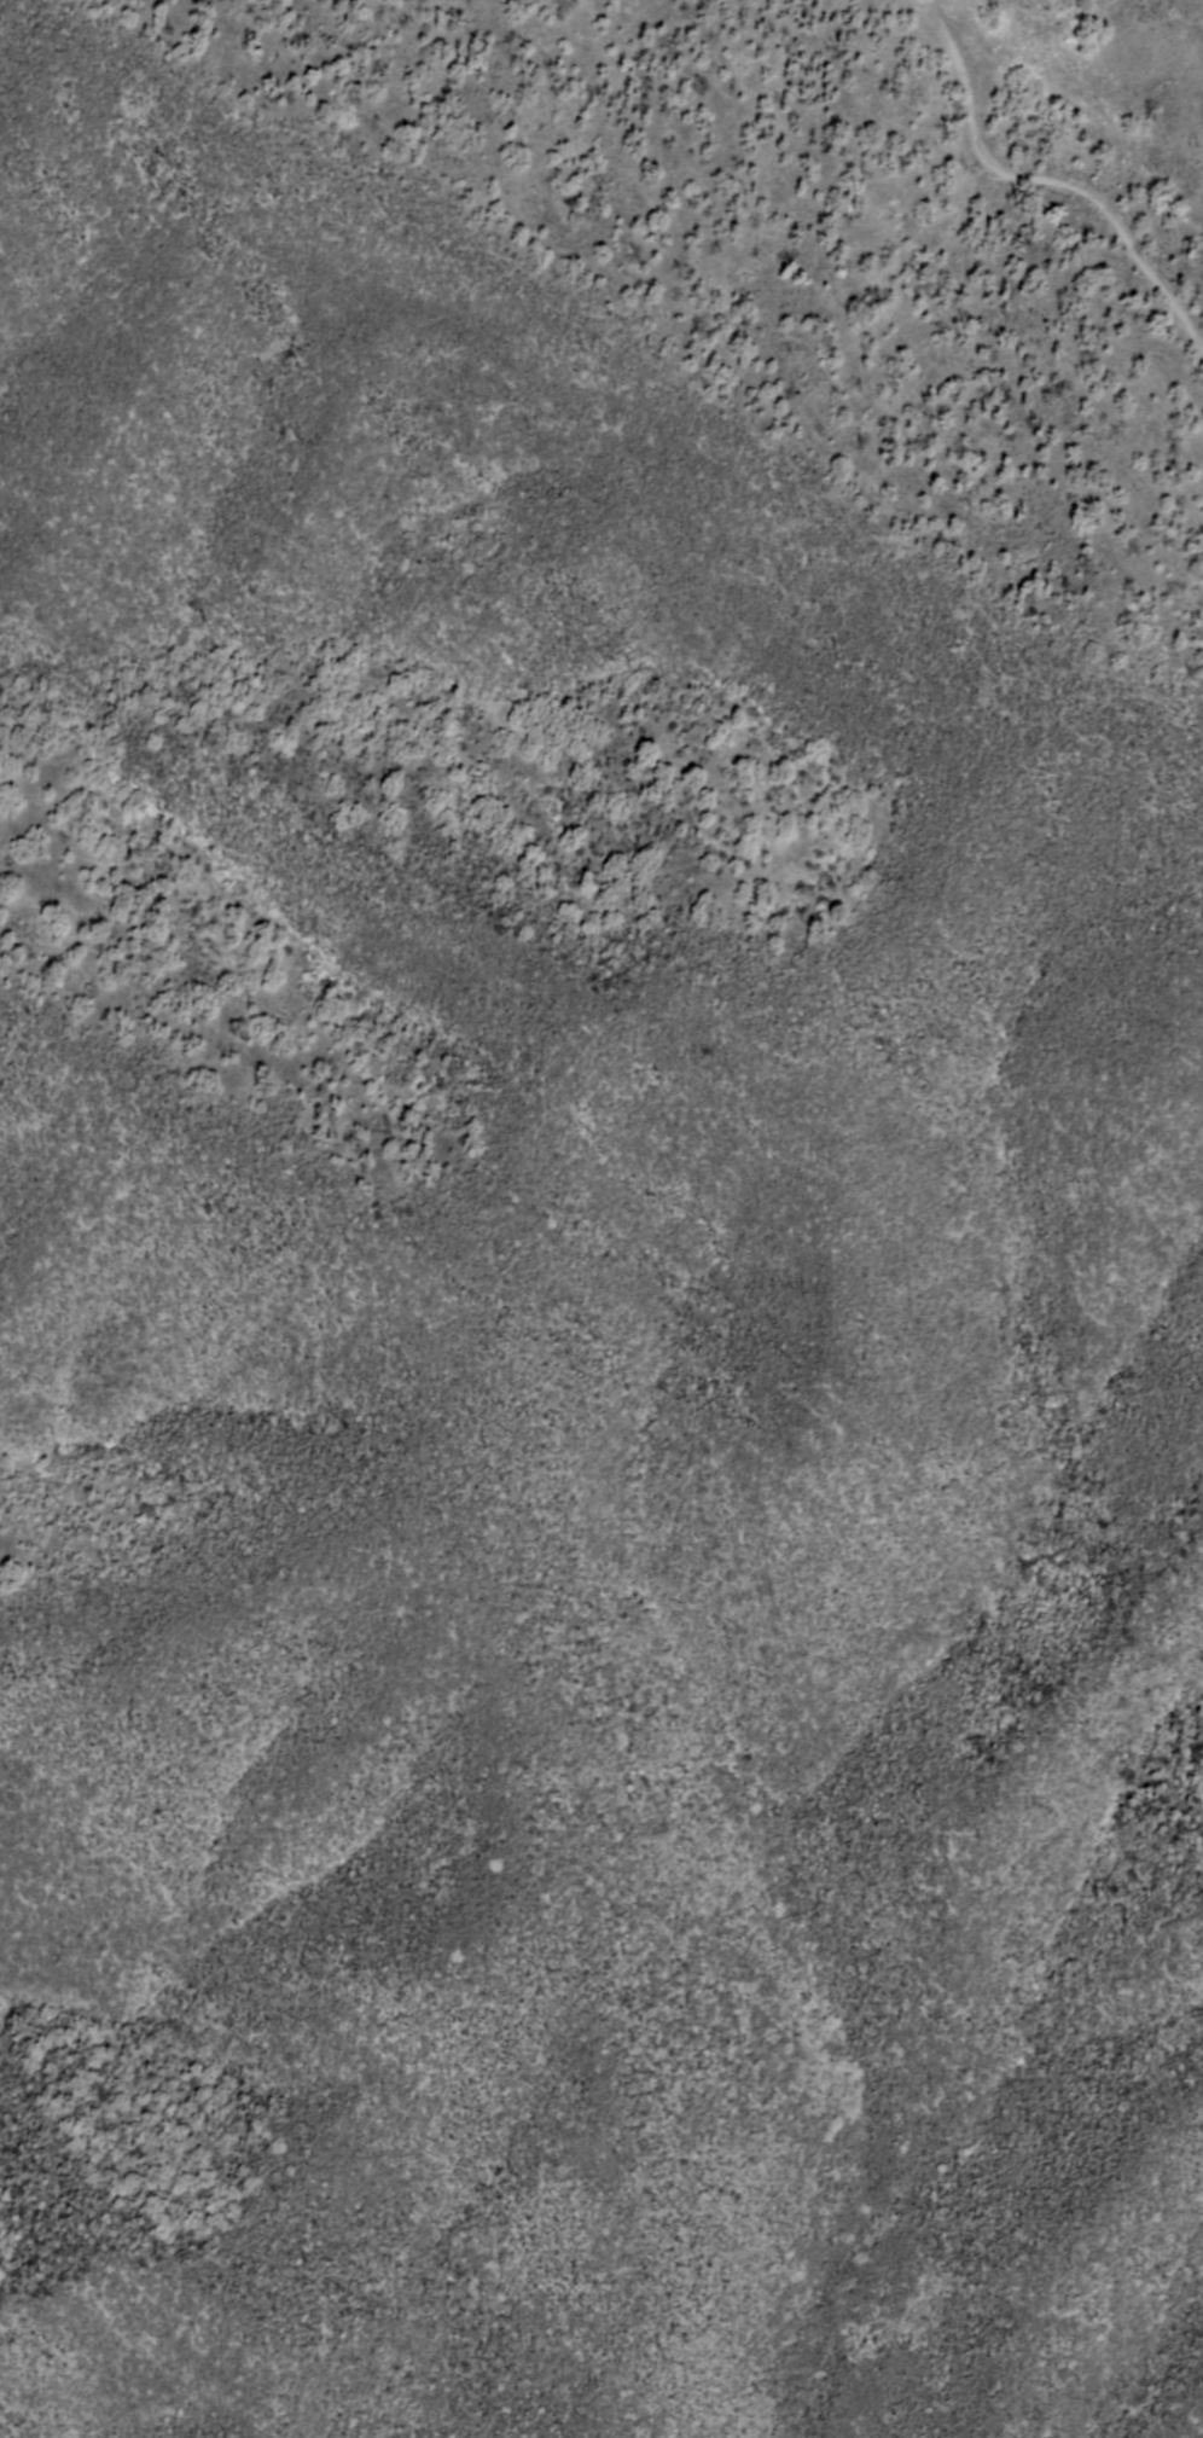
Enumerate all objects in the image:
road: (1034, 186)

